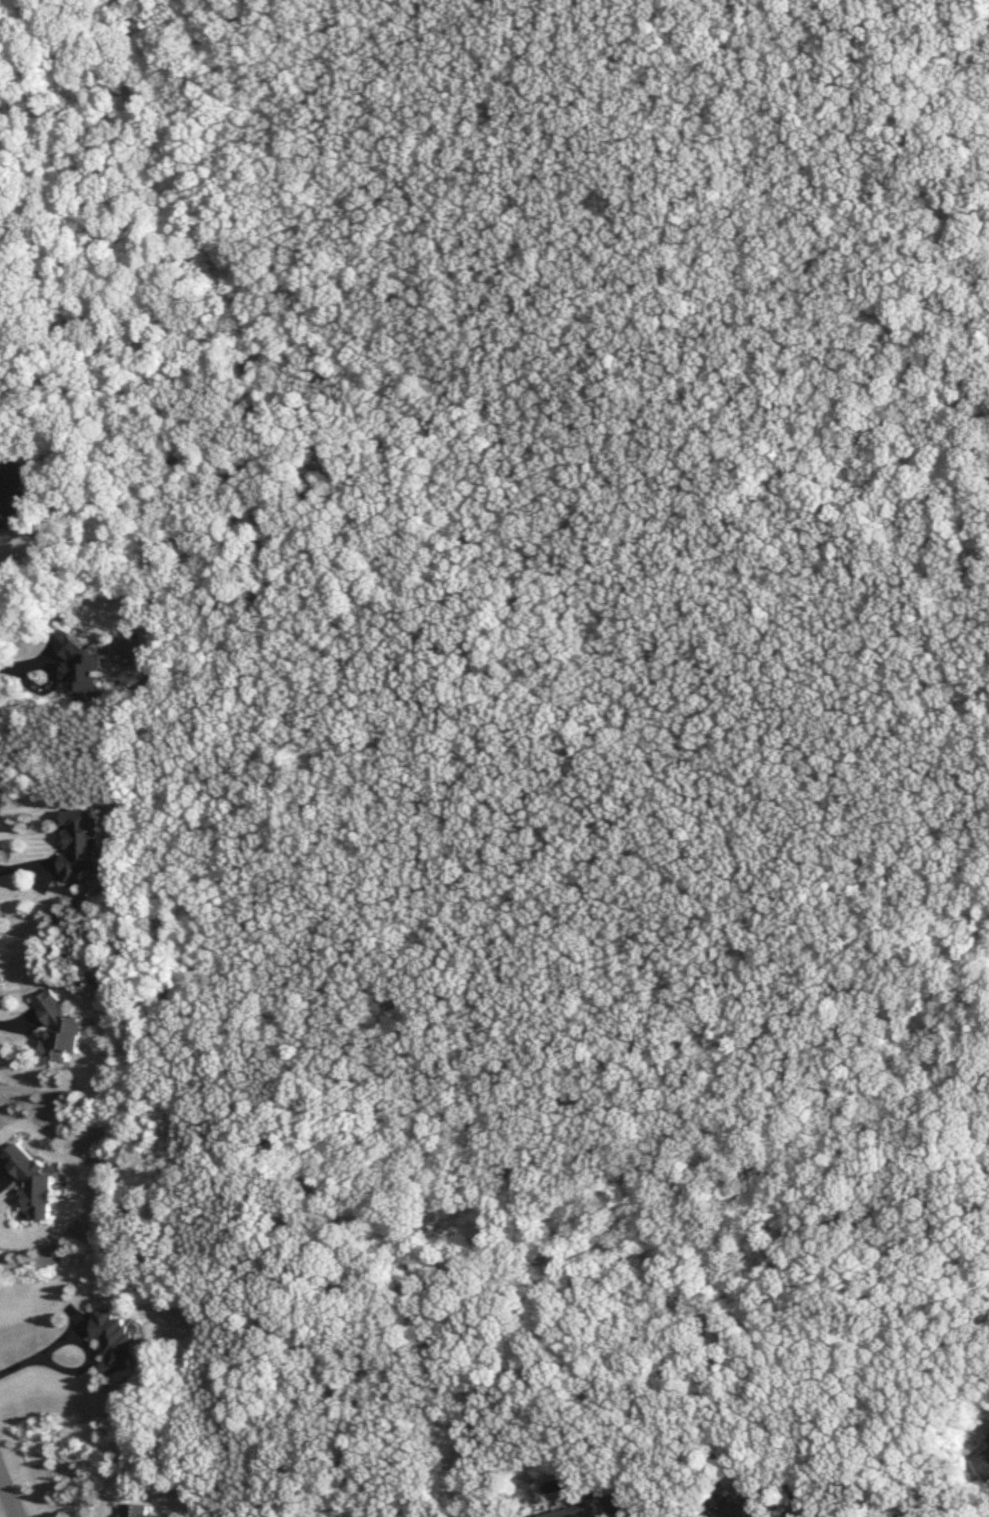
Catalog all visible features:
road: (937, 41)
building: (0, 318)
building: (12, 493)
road: (628, 517)
park: (597, 565)
building: (82, 666)
road: (905, 742)
building: (75, 845)
road: (603, 897)
building: (54, 1036)
building: (29, 1184)
building: (110, 1341)
road: (37, 1353)
building: (987, 1442)
building: (982, 1466)
road: (9, 1492)
building: (730, 1507)
building: (133, 1511)
building: (578, 1512)

